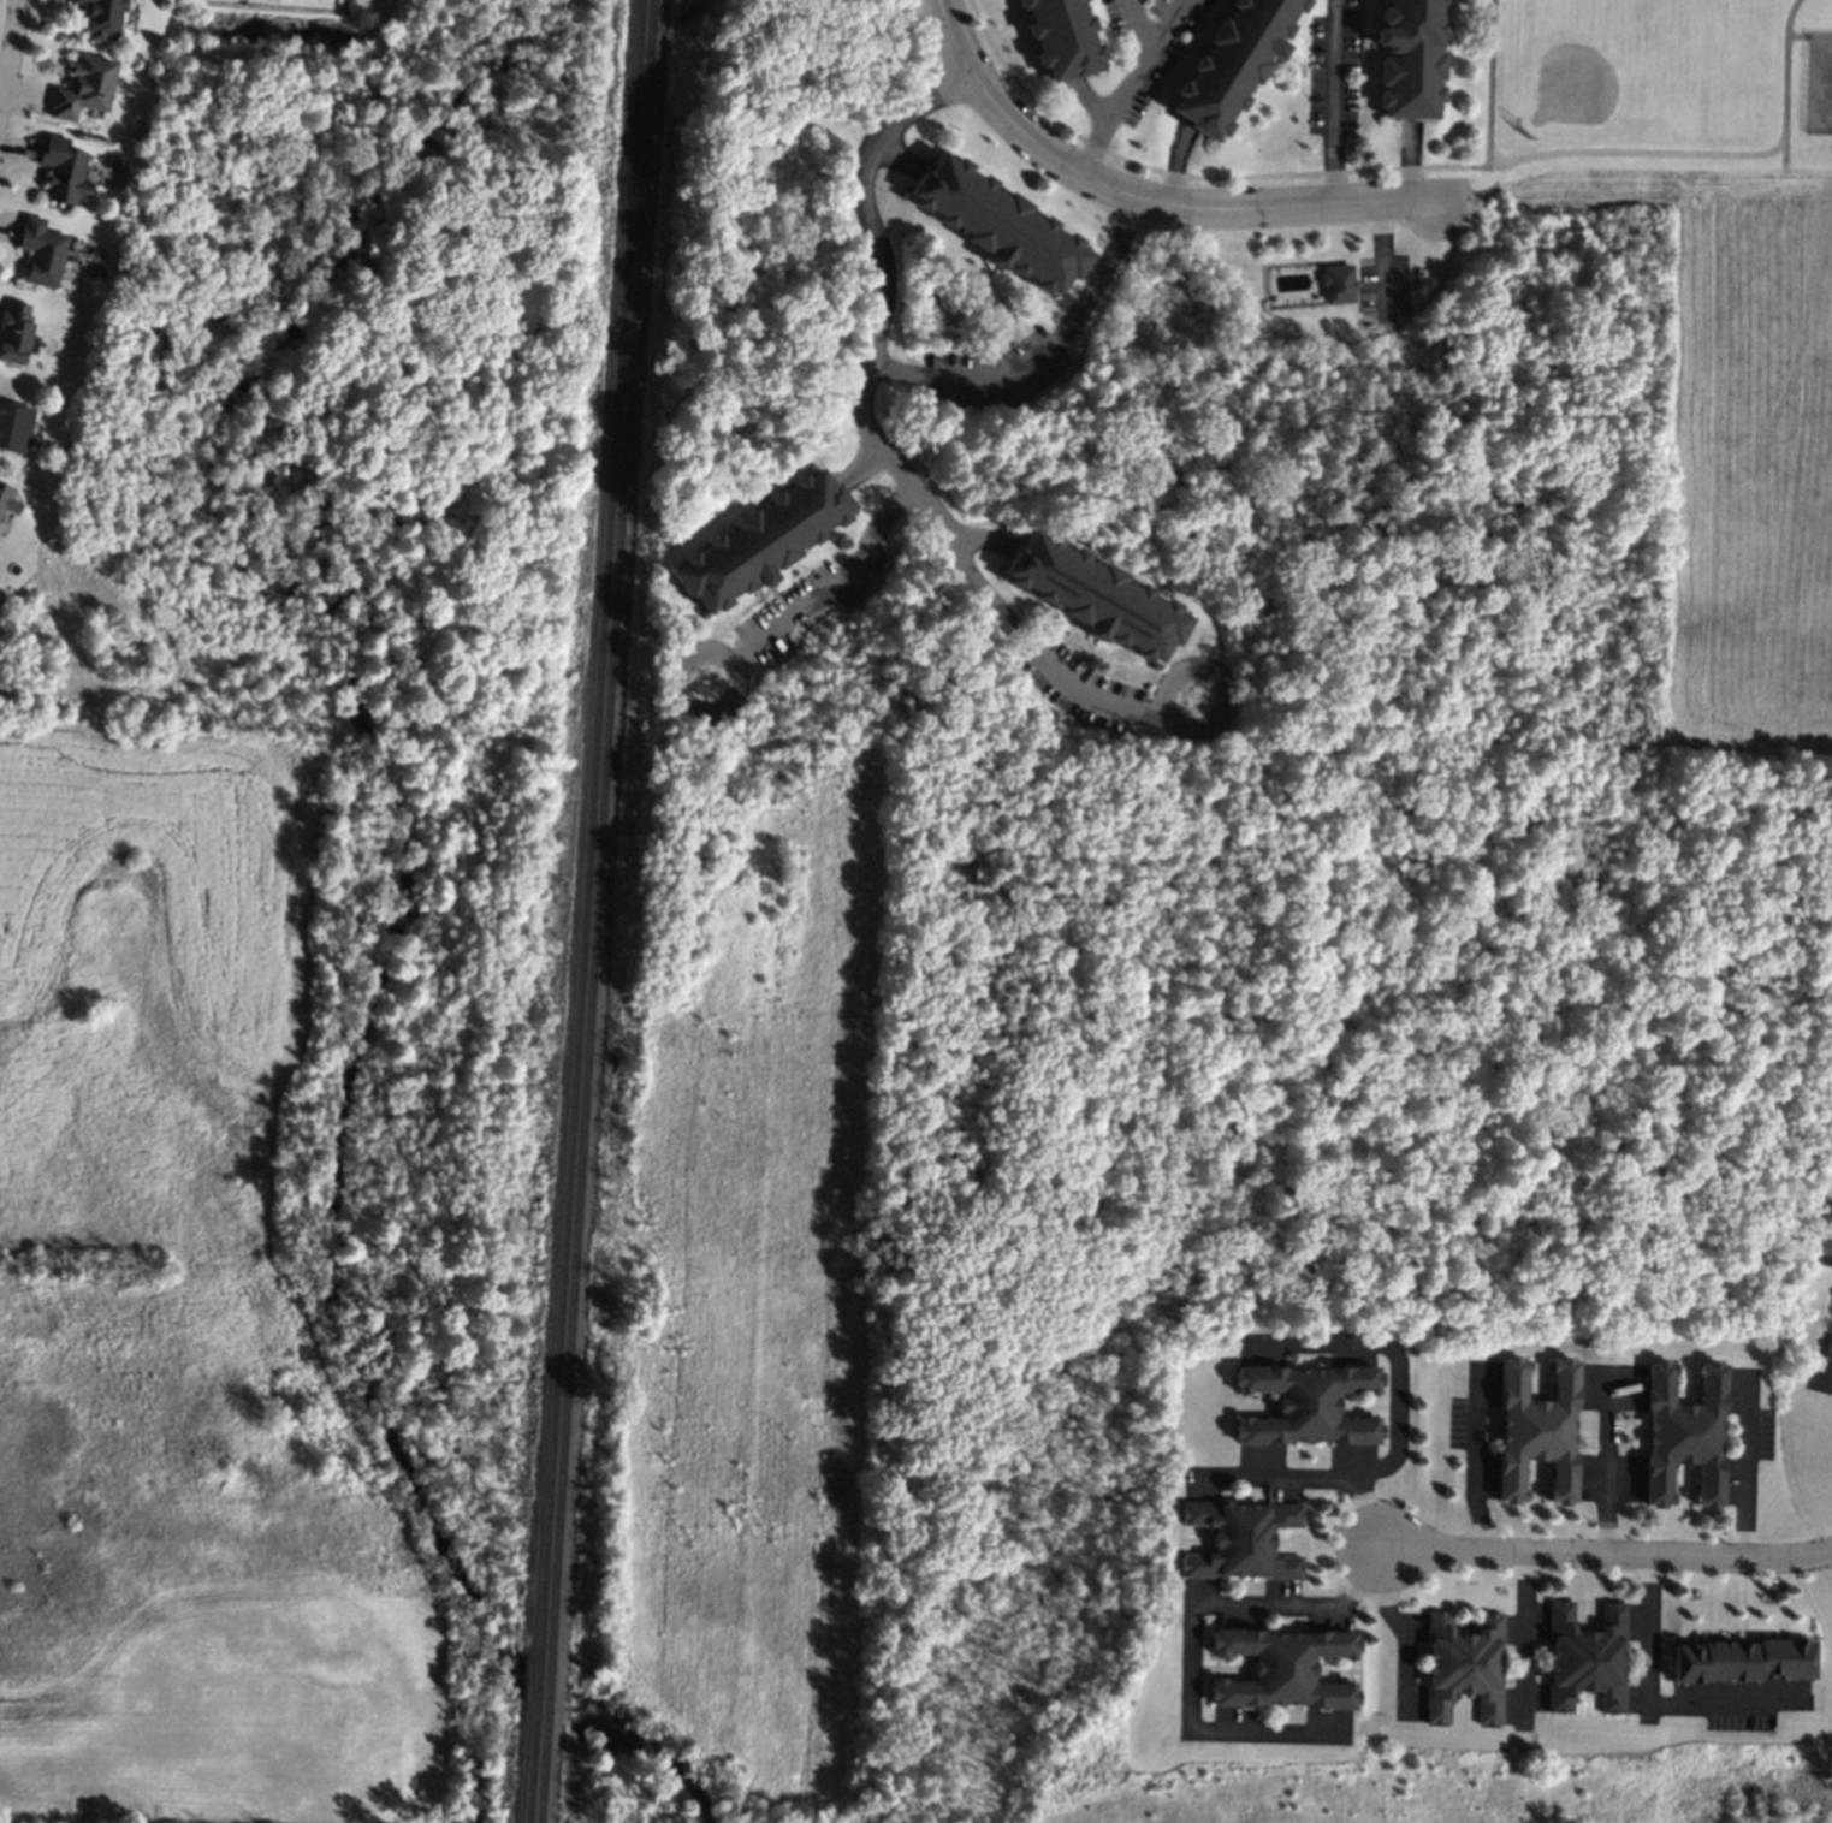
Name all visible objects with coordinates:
building: (97, 17)
road: (5, 26)
road: (1142, 26)
road: (1797, 34)
building: (1060, 36)
building: (1409, 58)
building: (1232, 63)
park: (1596, 71)
road: (977, 73)
road: (998, 81)
park: (1825, 82)
road: (1489, 83)
road: (1785, 83)
park: (1819, 83)
park: (1650, 85)
building: (82, 87)
road: (1132, 87)
road: (1335, 101)
road: (1628, 150)
building: (60, 170)
road: (1222, 176)
road: (1227, 208)
building: (996, 224)
building: (40, 251)
road: (1382, 259)
building: (1336, 283)
building: (12, 331)
road: (1043, 352)
road: (867, 423)
building: (13, 427)
crop: (1733, 445)
building: (6, 499)
road: (978, 538)
building: (759, 540)
building: (1093, 595)
road: (758, 642)
road: (1223, 683)
road: (1155, 712)
railway: (583, 911)
railway: (595, 911)
crop: (147, 979)
building: (1831, 1166)
building: (1831, 1172)
building: (1826, 1215)
park: (1188, 1248)
road: (1830, 1259)
building: (1827, 1348)
road: (1392, 1350)
road: (1822, 1386)
building: (1305, 1405)
building: (1535, 1429)
building: (1682, 1433)
road: (1474, 1461)
road: (1607, 1463)
road: (1744, 1467)
road: (1309, 1479)
building: (1238, 1539)
road: (1603, 1554)
road: (1395, 1627)
road: (1190, 1635)
road: (1519, 1637)
building: (1584, 1657)
building: (1738, 1659)
building: (1462, 1665)
building: (1281, 1669)
road: (1643, 1702)

